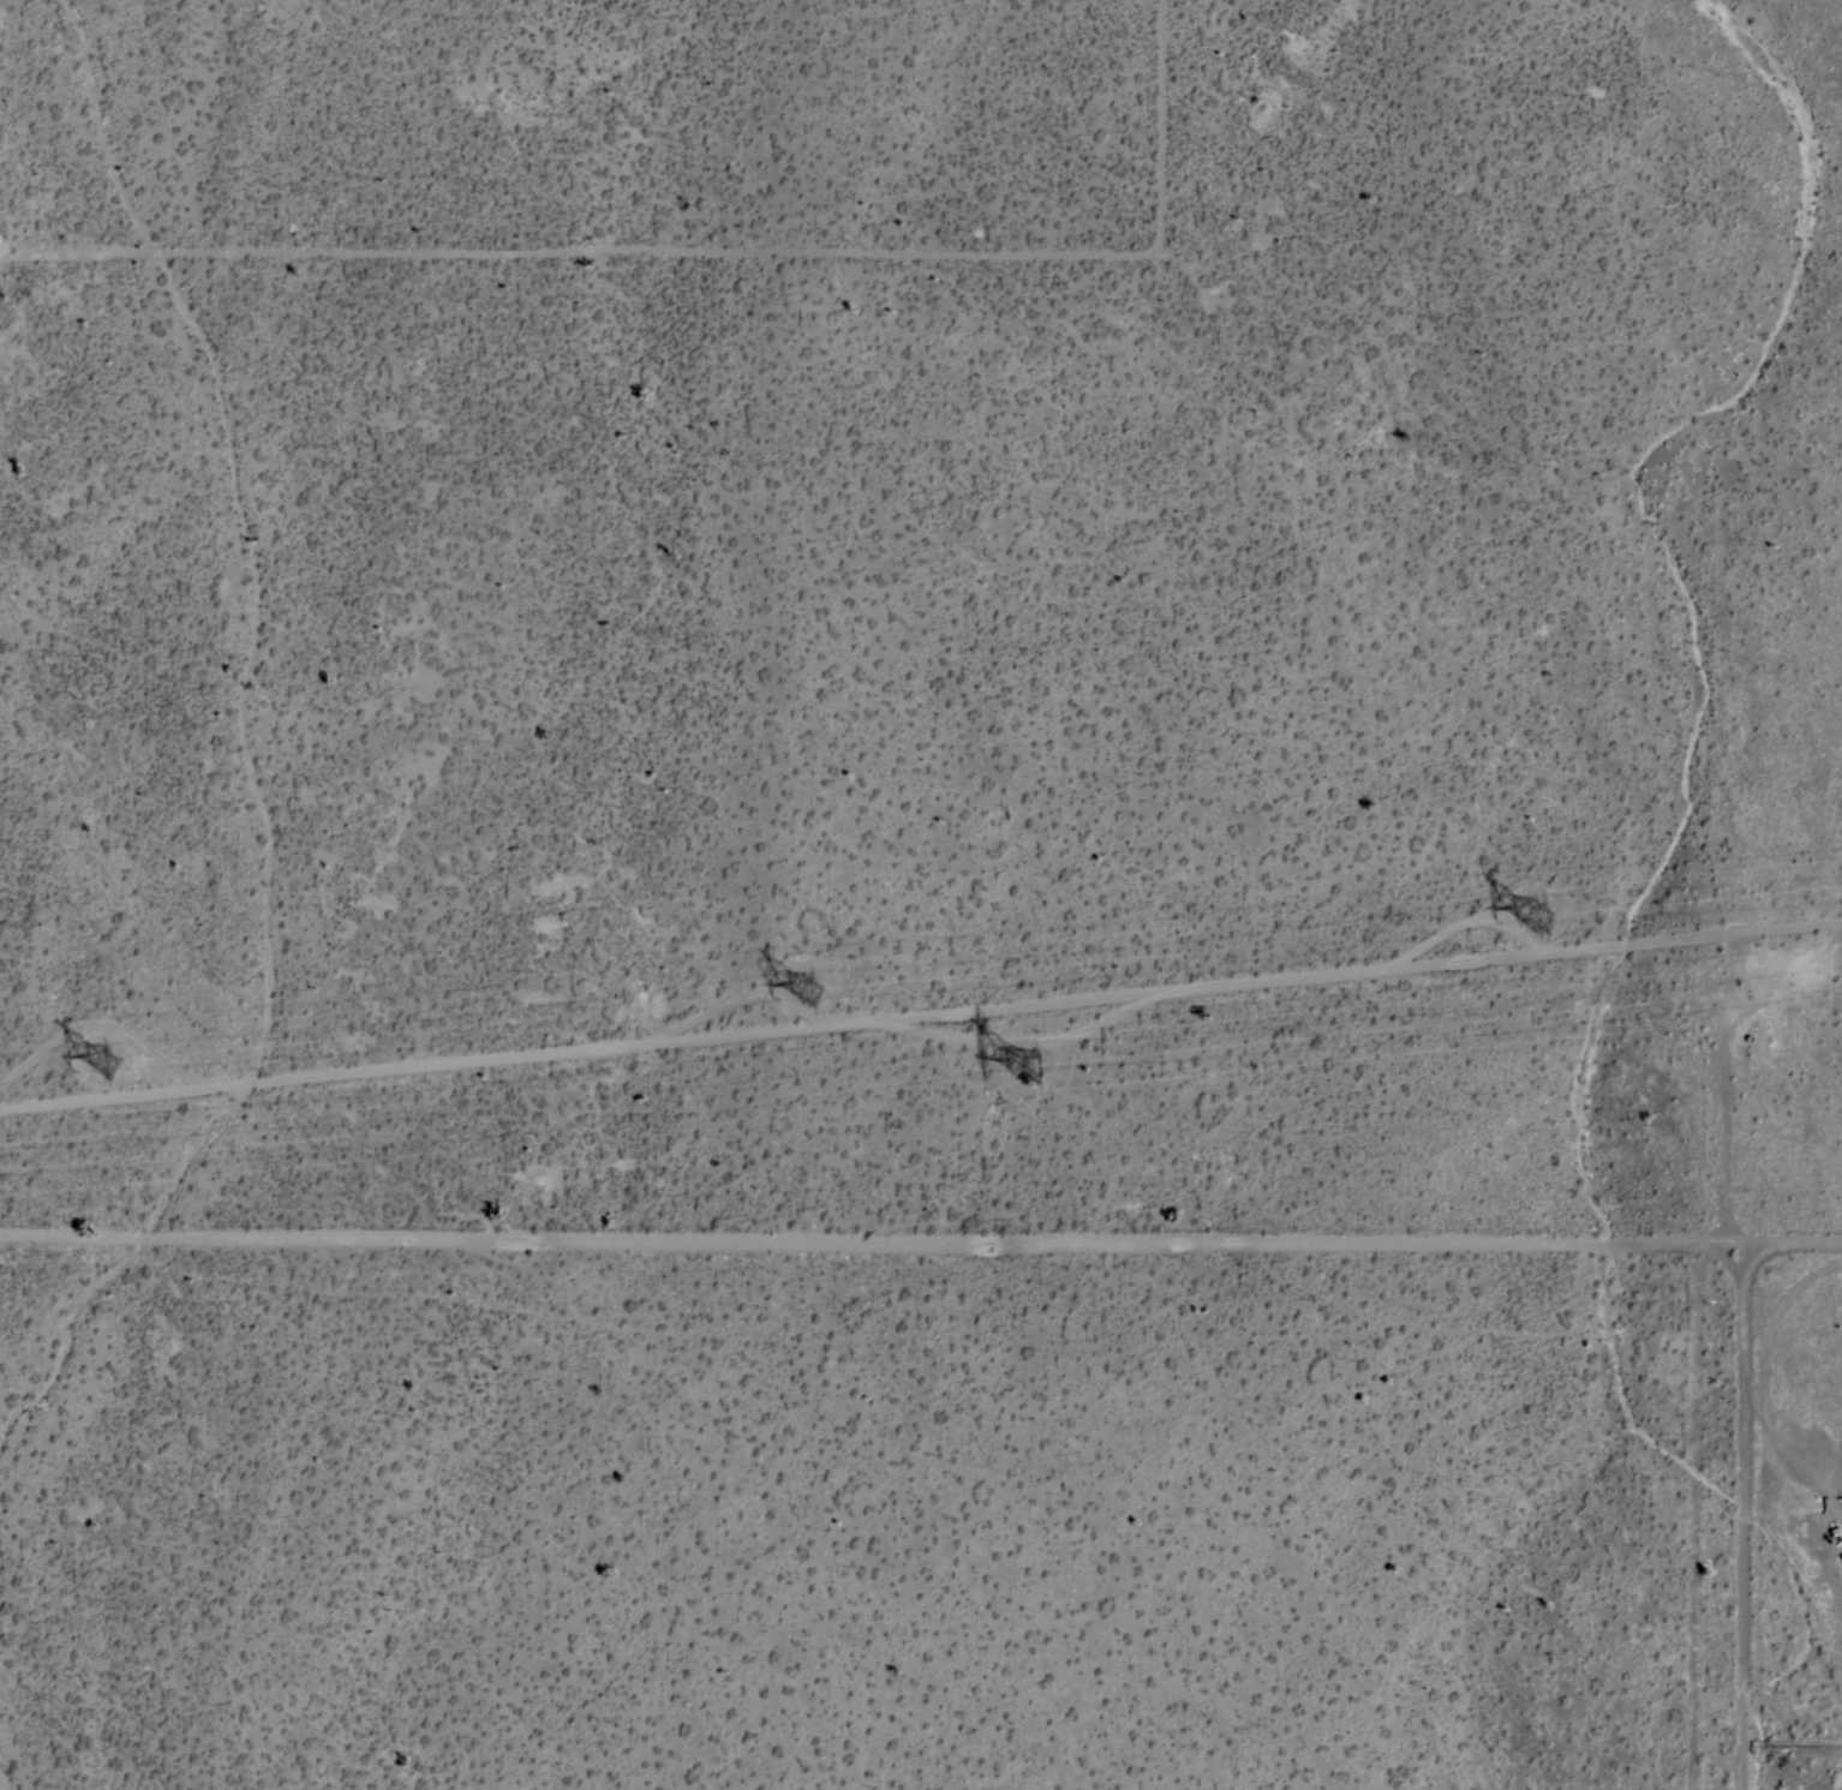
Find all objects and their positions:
road: (696, 243)
power tower: (1464, 934)
power tower: (839, 999)
road: (921, 1019)
power tower: (1033, 1072)
power tower: (84, 1076)
road: (920, 1265)
road: (1738, 1523)

